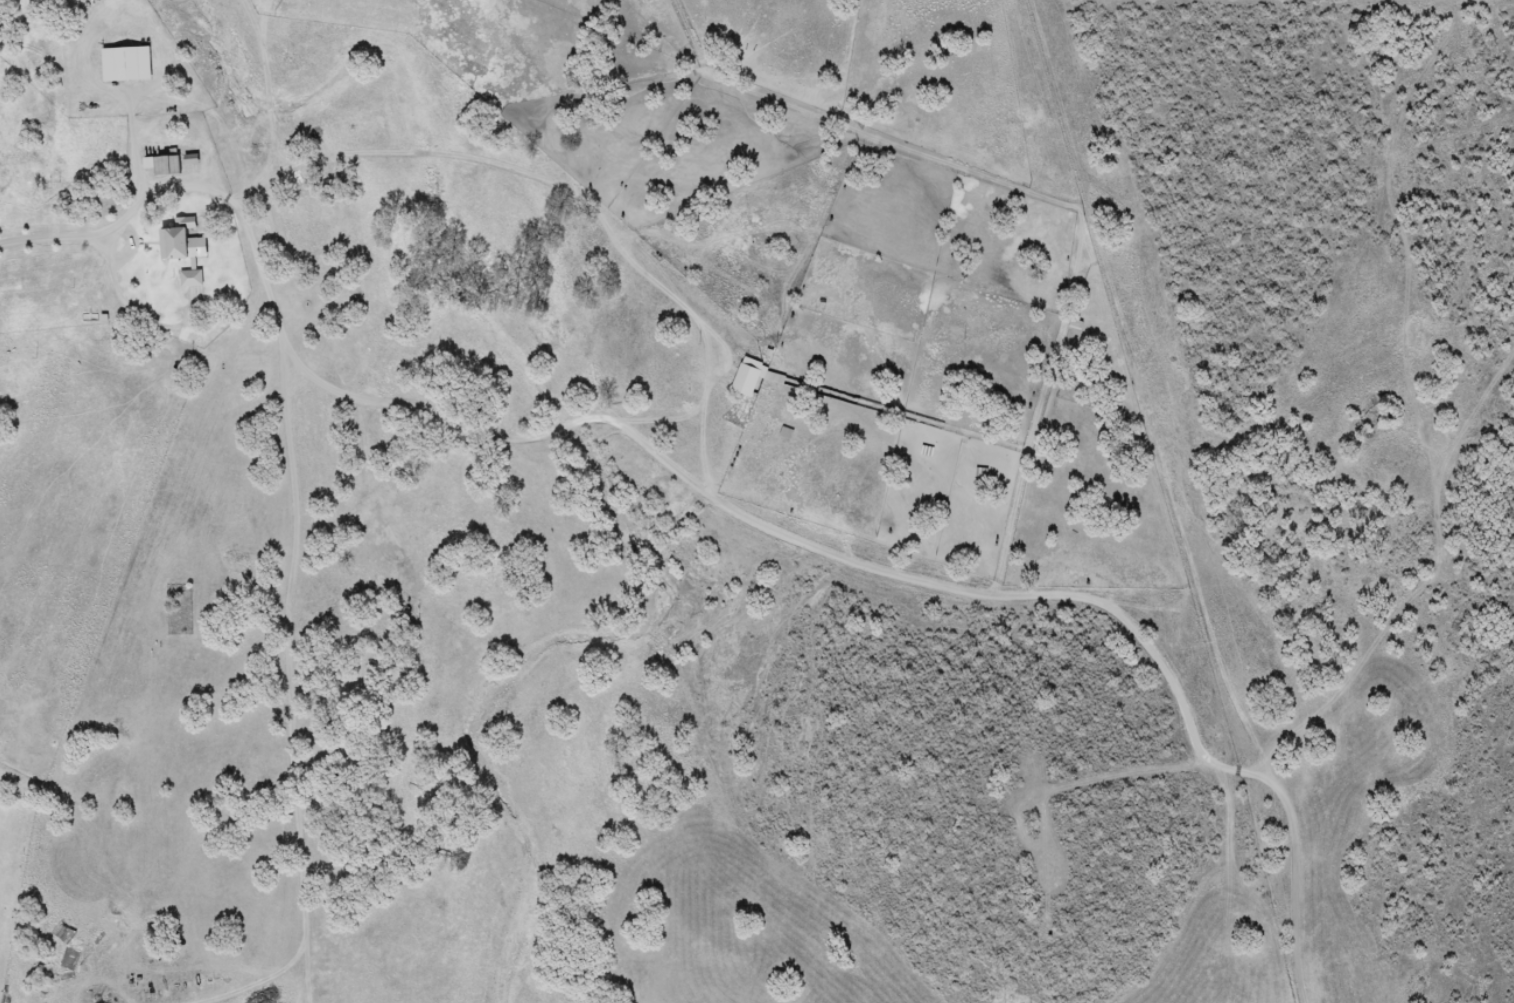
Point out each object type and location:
building: (131, 65)
building: (171, 165)
road: (118, 241)
building: (190, 251)
building: (1072, 326)
building: (751, 378)
road: (307, 477)

